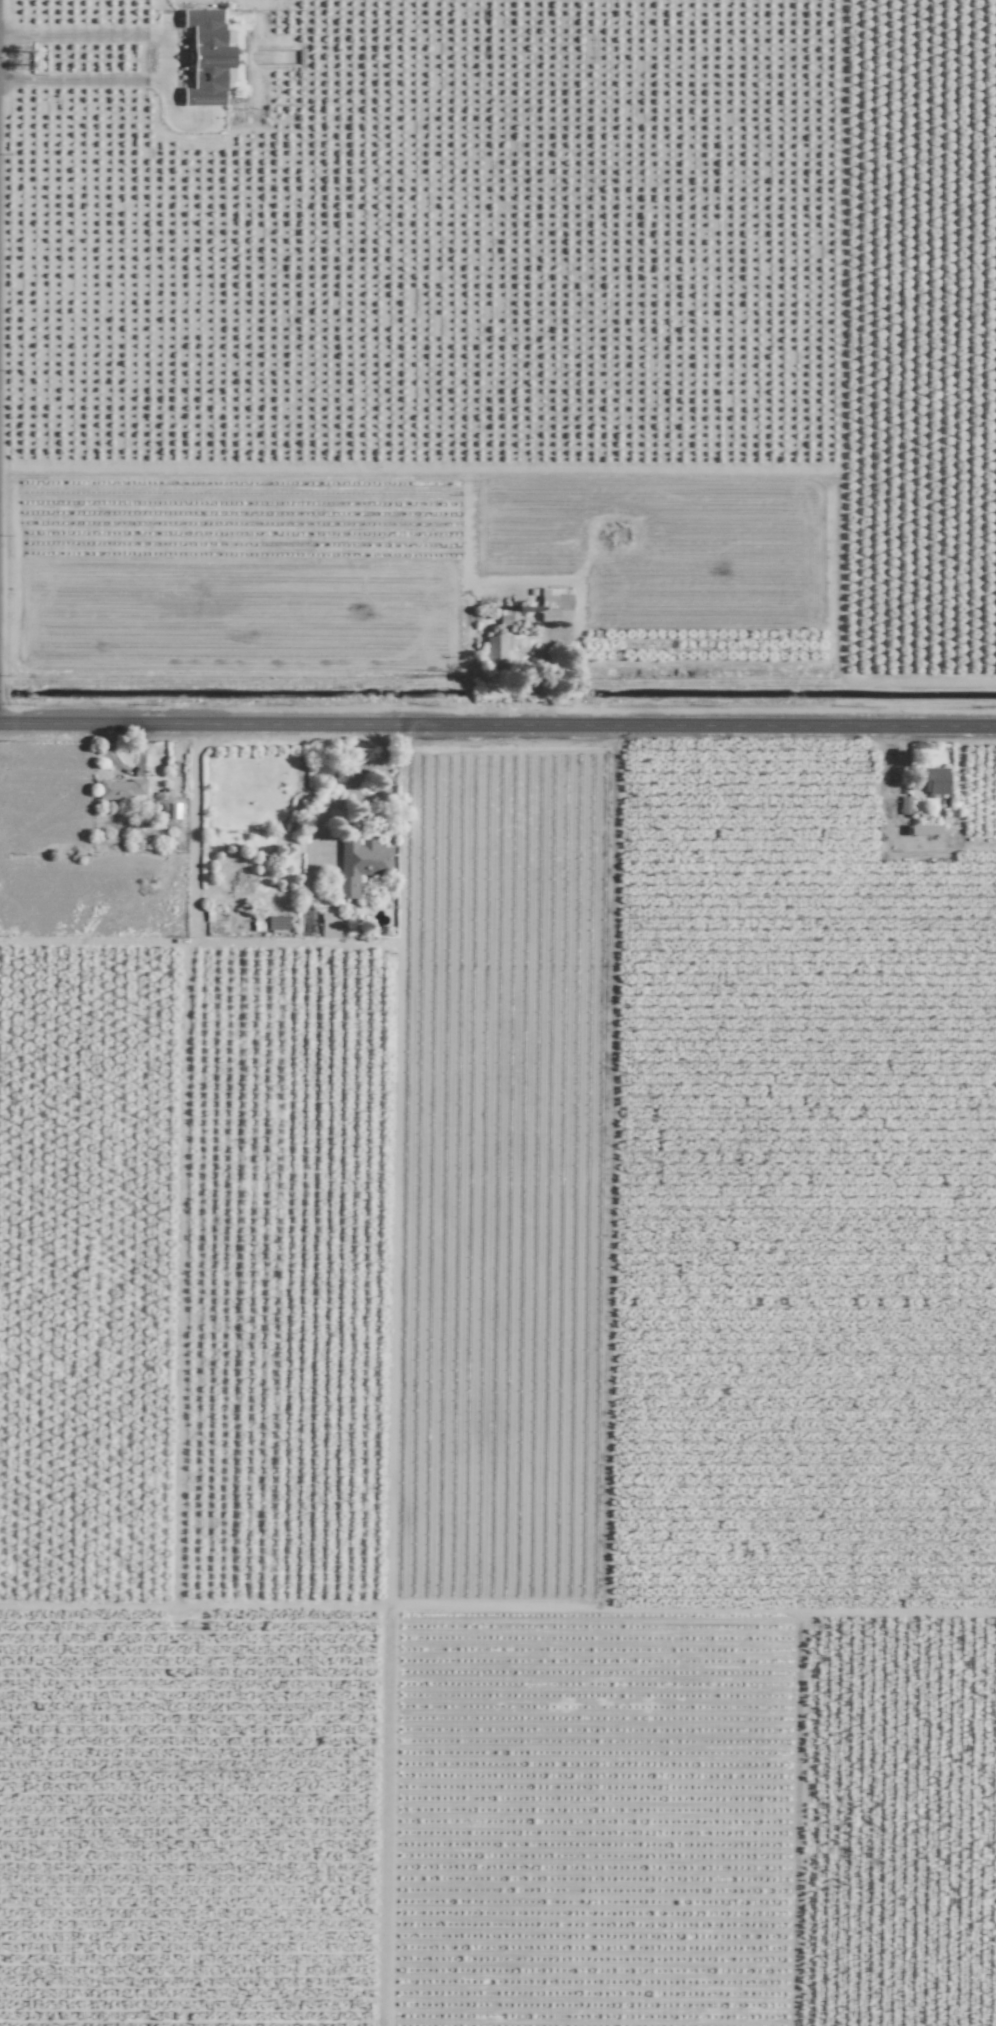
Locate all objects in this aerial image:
road: (159, 52)
crop: (561, 565)
building: (553, 604)
road: (497, 727)
road: (344, 782)
building: (120, 789)
road: (888, 833)
building: (359, 864)
building: (329, 926)
crop: (497, 1384)

